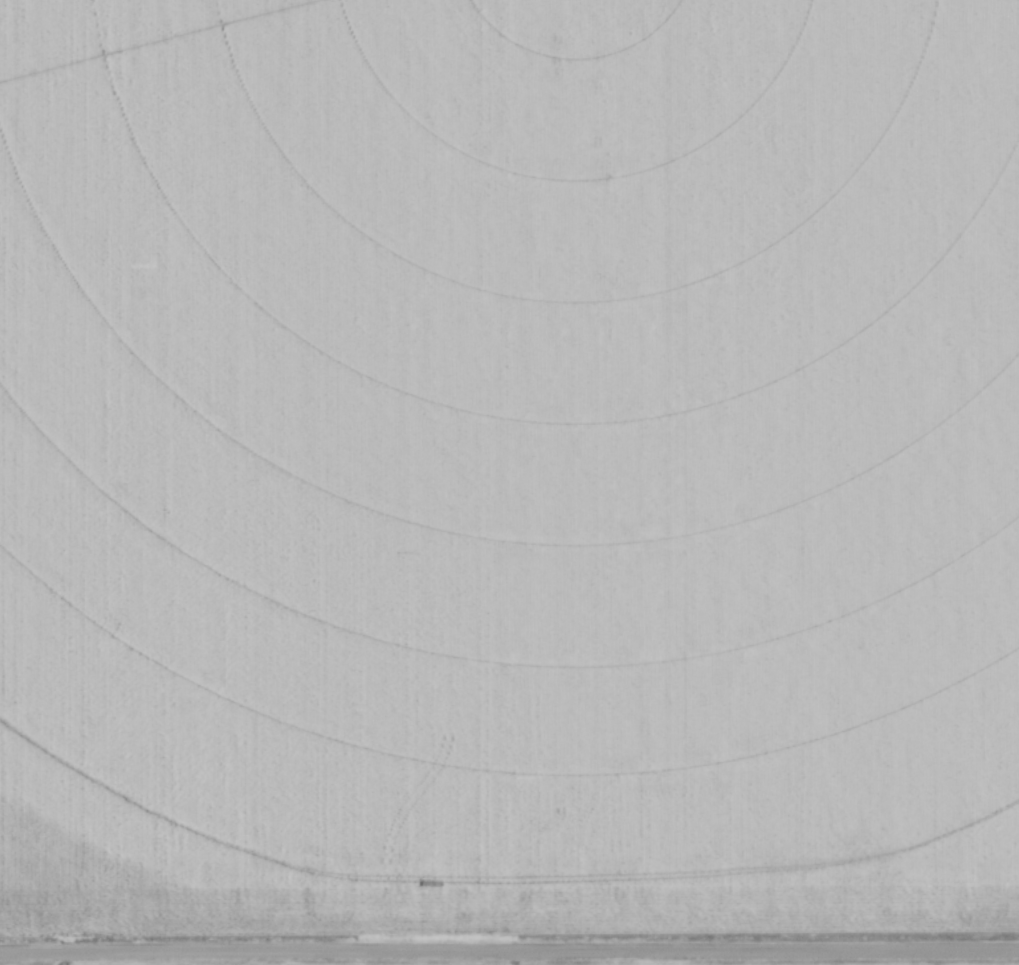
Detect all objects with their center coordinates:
road: (509, 954)

